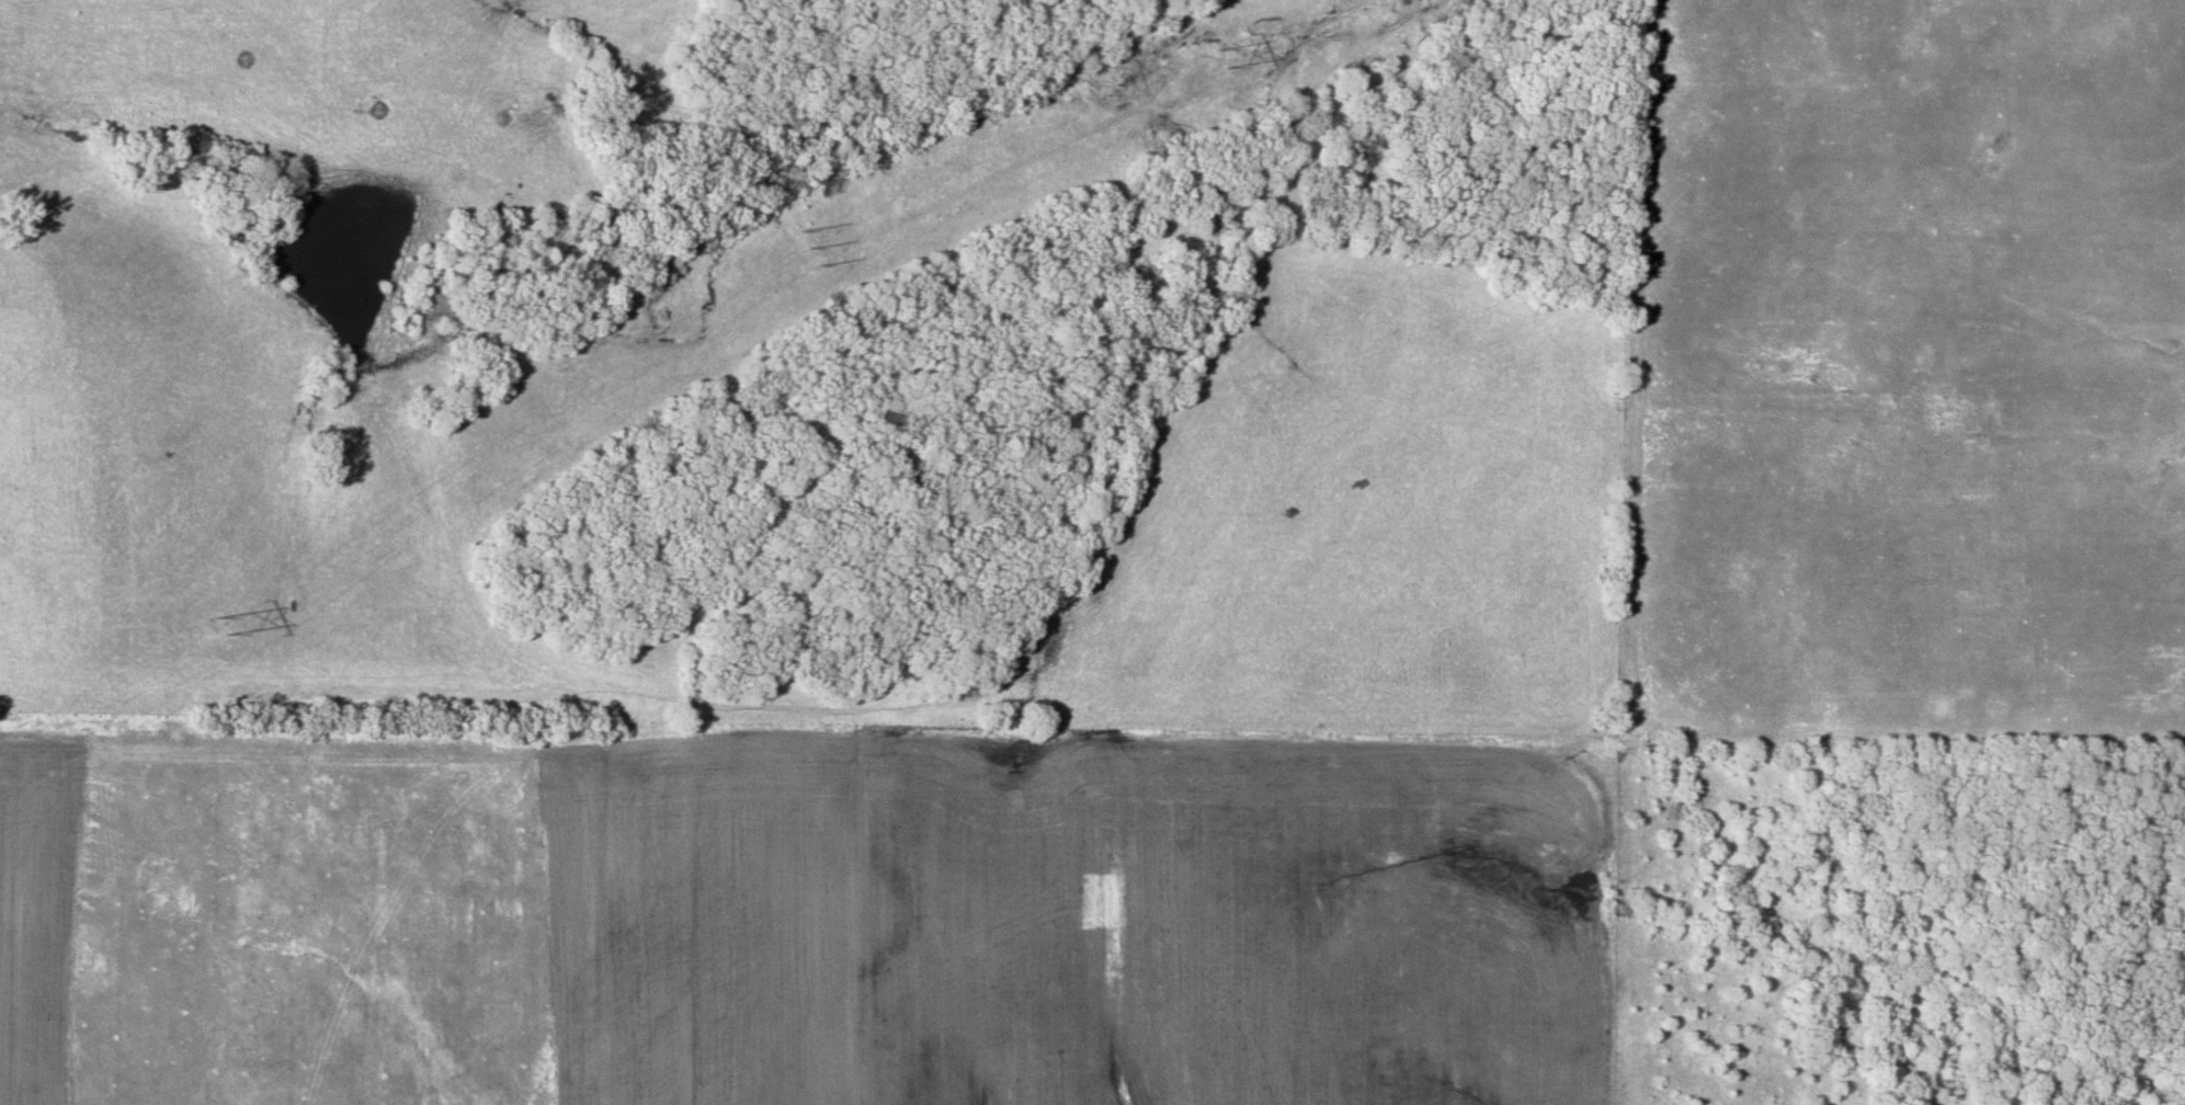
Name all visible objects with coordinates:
power tower: (1215, 66)
power tower: (817, 252)
power tower: (208, 608)

